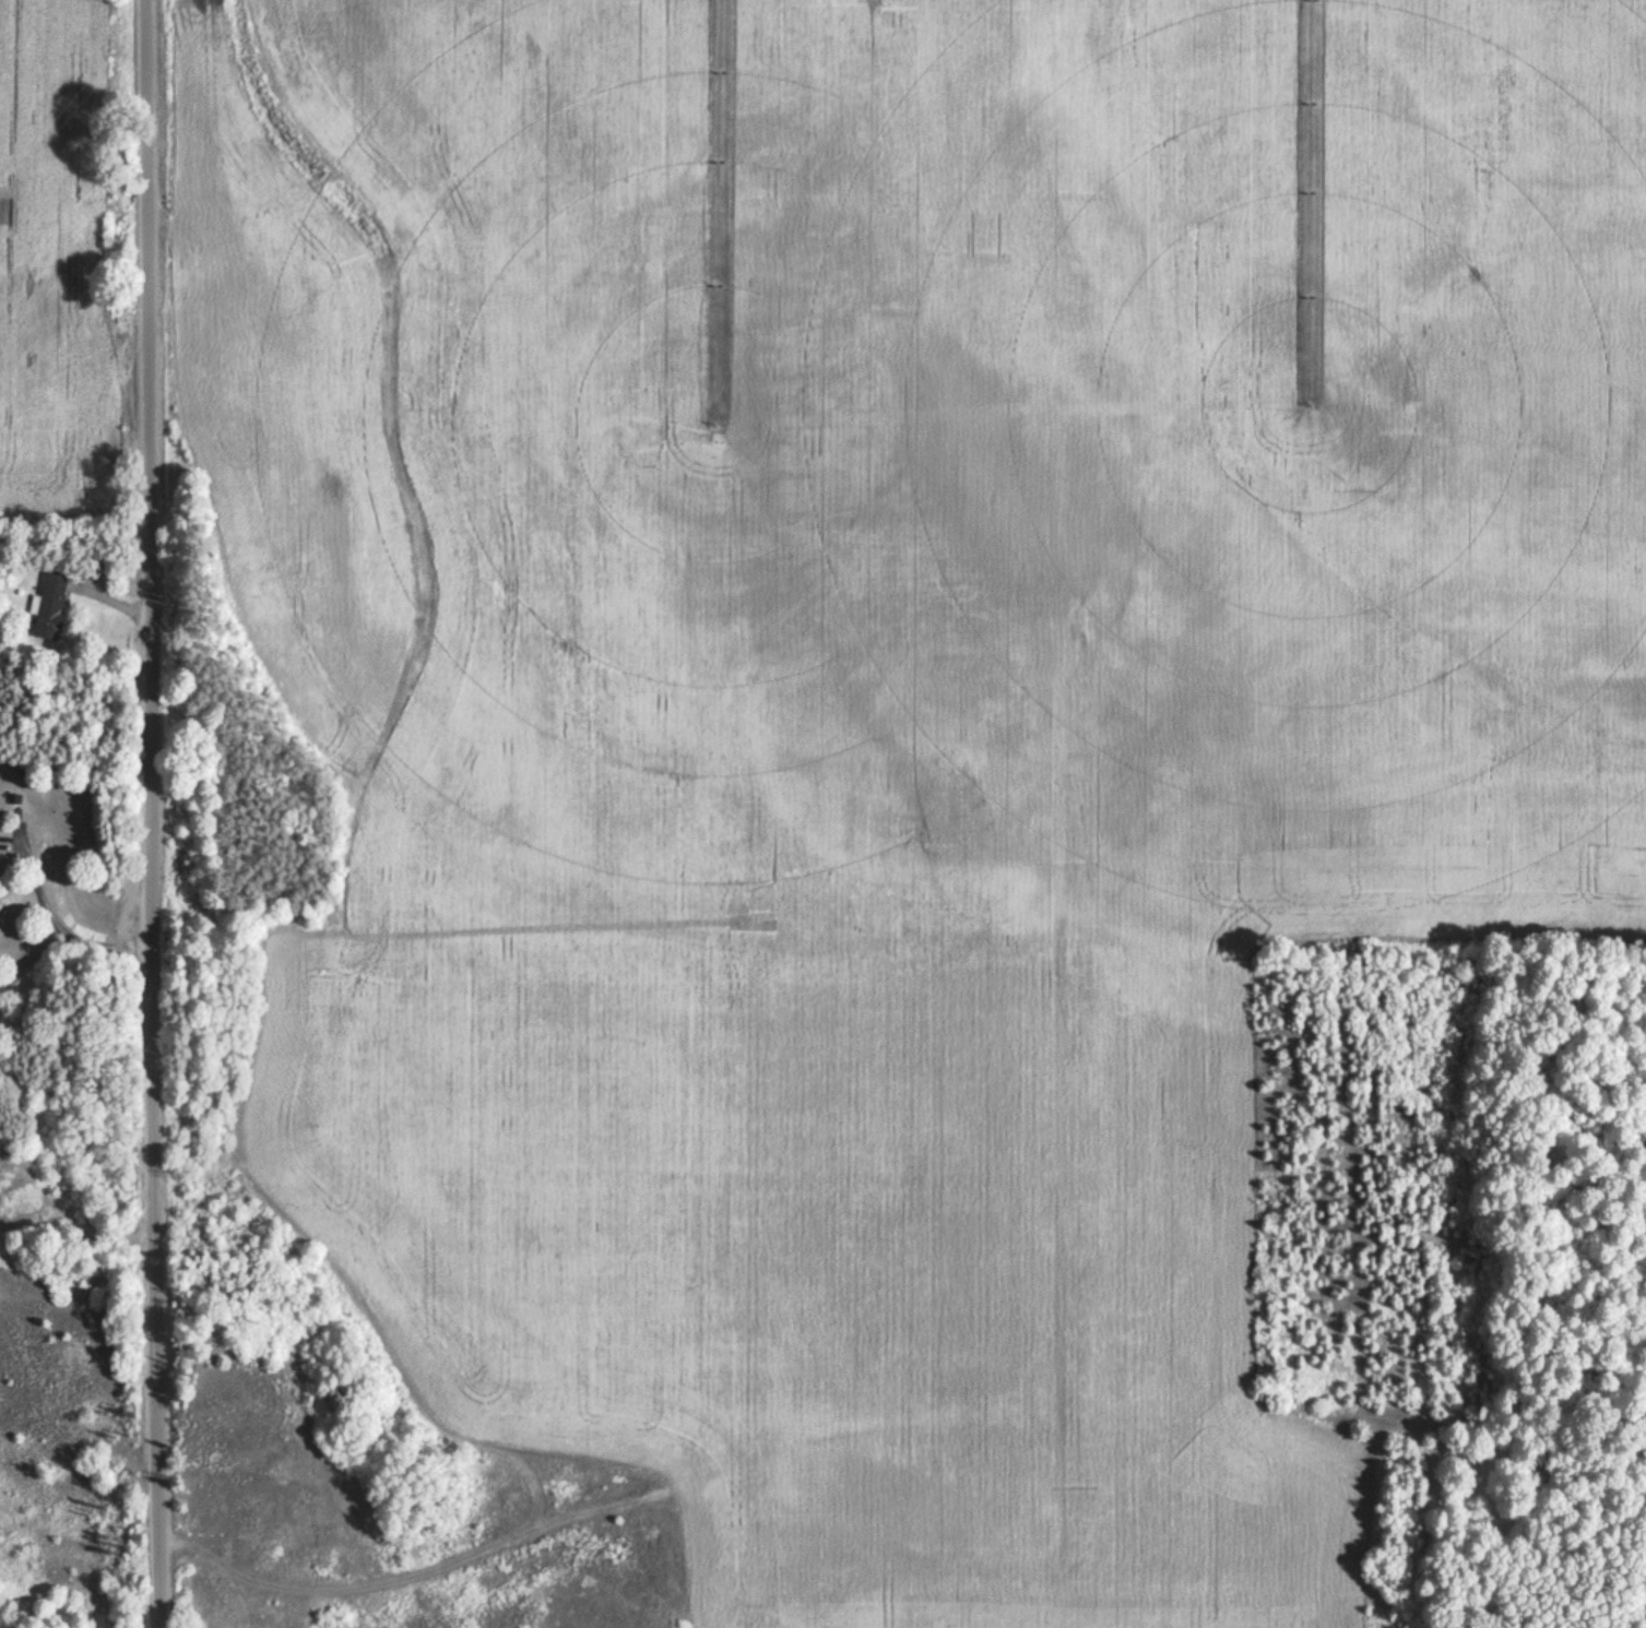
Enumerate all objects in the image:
building: (49, 607)
road: (132, 813)
building: (306, 1508)
building: (245, 1512)

